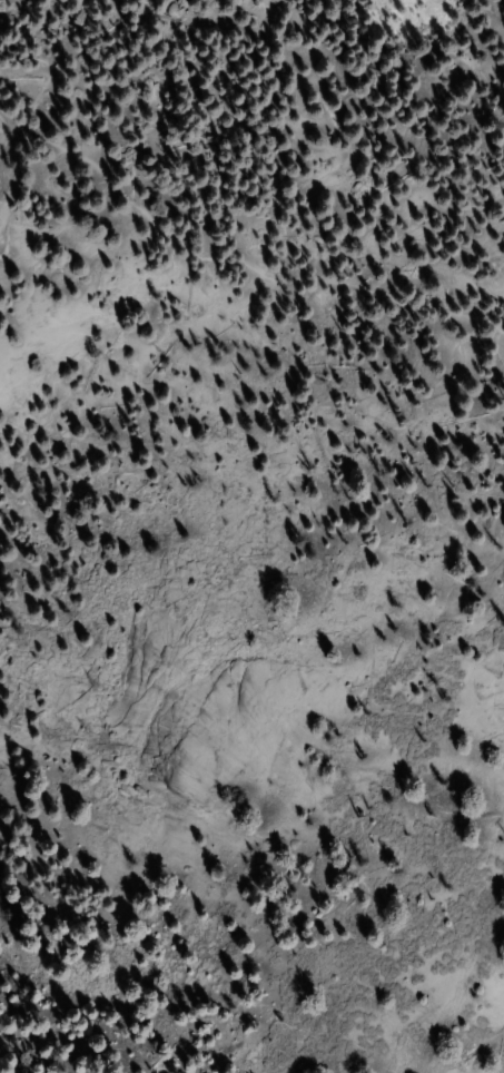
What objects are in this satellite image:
road: (236, 256)

